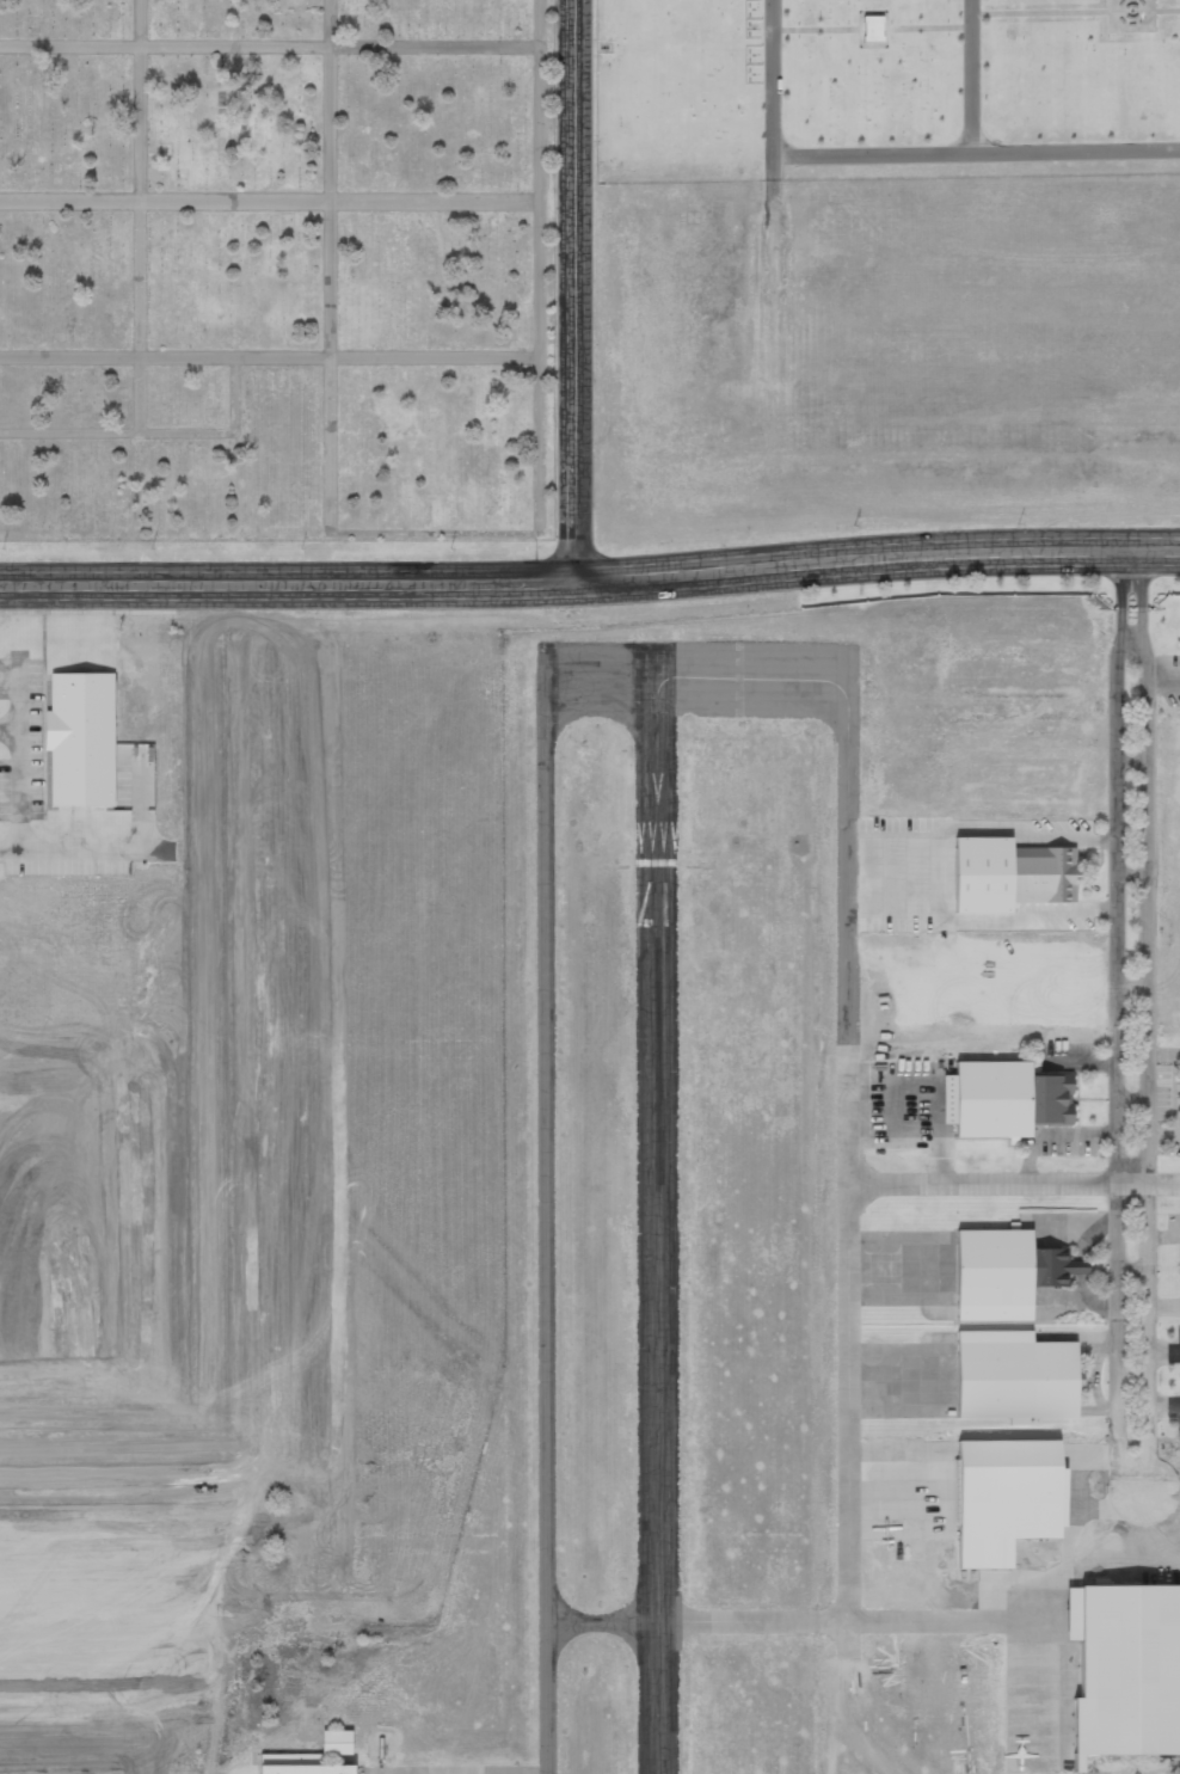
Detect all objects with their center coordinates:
road: (971, 76)
road: (897, 155)
park: (487, 221)
road: (571, 293)
road: (874, 559)
road: (285, 585)
road: (1130, 646)
building: (81, 738)
road: (1130, 762)
building: (1009, 874)
road: (1131, 874)
road: (1131, 987)
airport taxiway: (847, 1056)
road: (1131, 1098)
building: (1007, 1099)
airport taxiway: (546, 1170)
road: (1013, 1185)
airport runway: (657, 1208)
building: (1004, 1273)
airport: (729, 1305)
building: (1009, 1376)
road: (1129, 1492)
airport taxiway: (776, 1622)
building: (1127, 1671)
building: (336, 1742)
building: (299, 1764)

